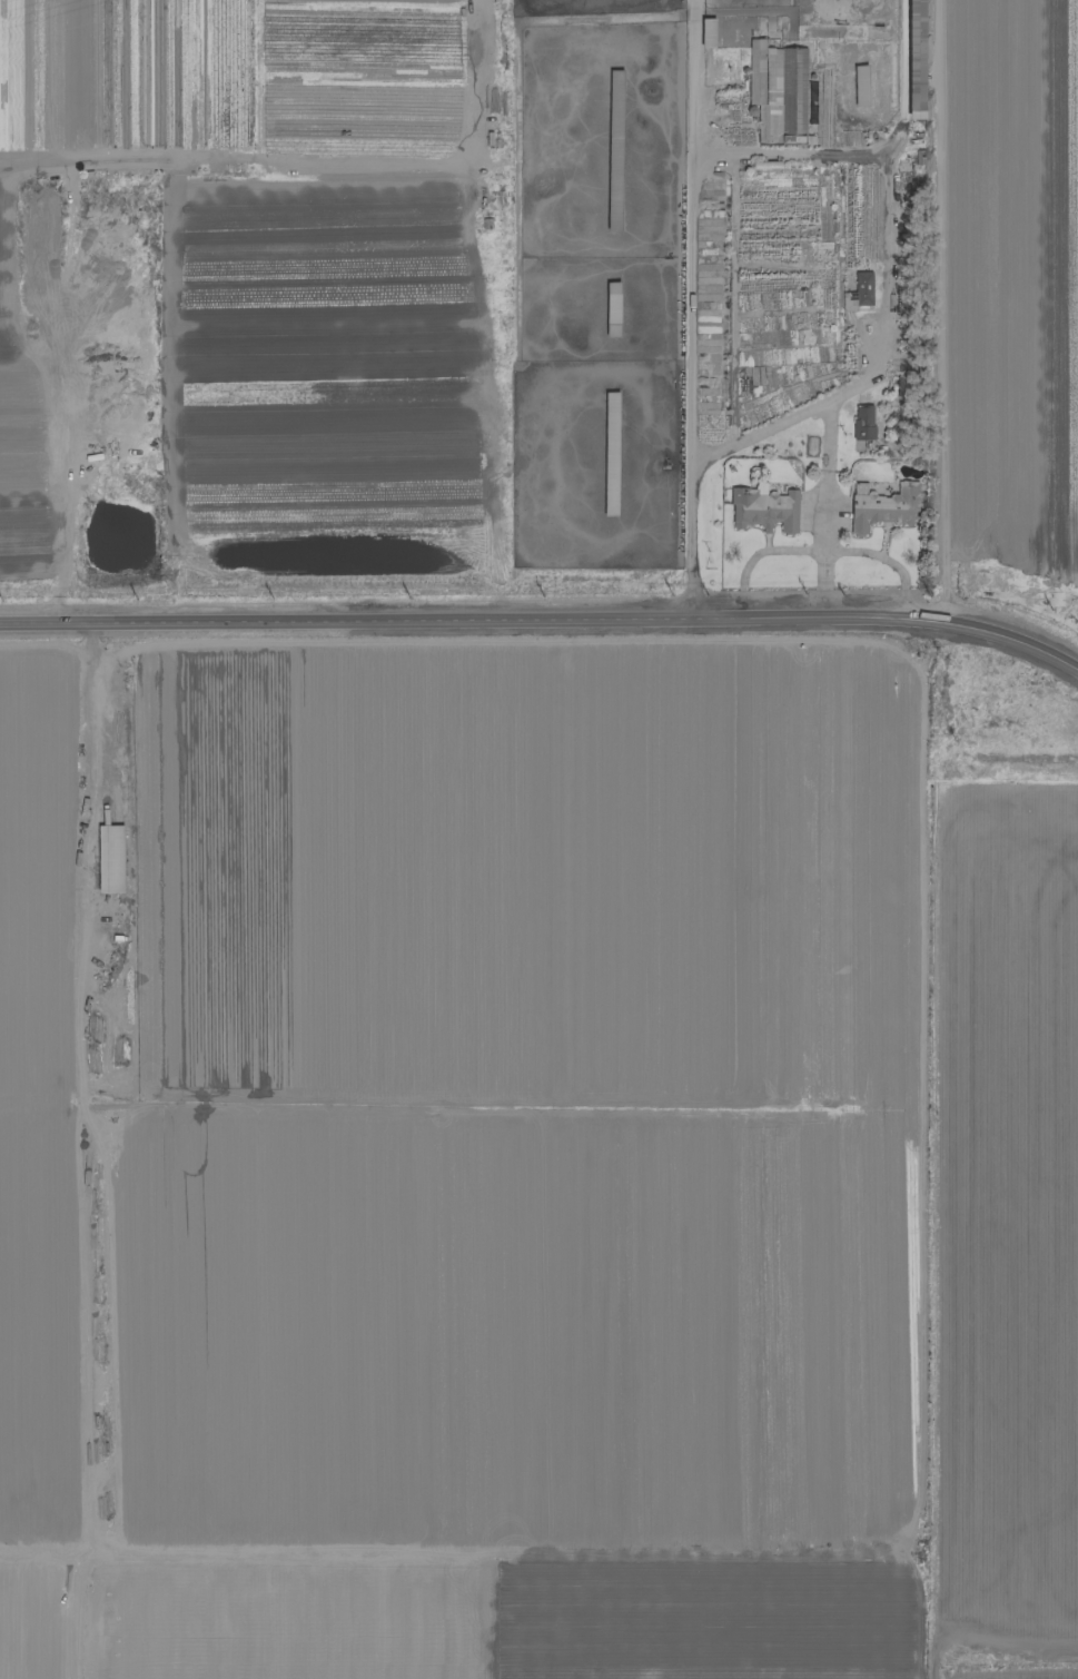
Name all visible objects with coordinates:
building: (706, 32)
building: (916, 59)
building: (778, 86)
building: (860, 86)
building: (614, 150)
building: (862, 288)
building: (612, 308)
road: (936, 310)
road: (689, 312)
building: (863, 421)
building: (610, 461)
building: (882, 506)
building: (764, 510)
road: (543, 623)
building: (109, 859)
crop: (1003, 1169)
crop: (463, 1616)

